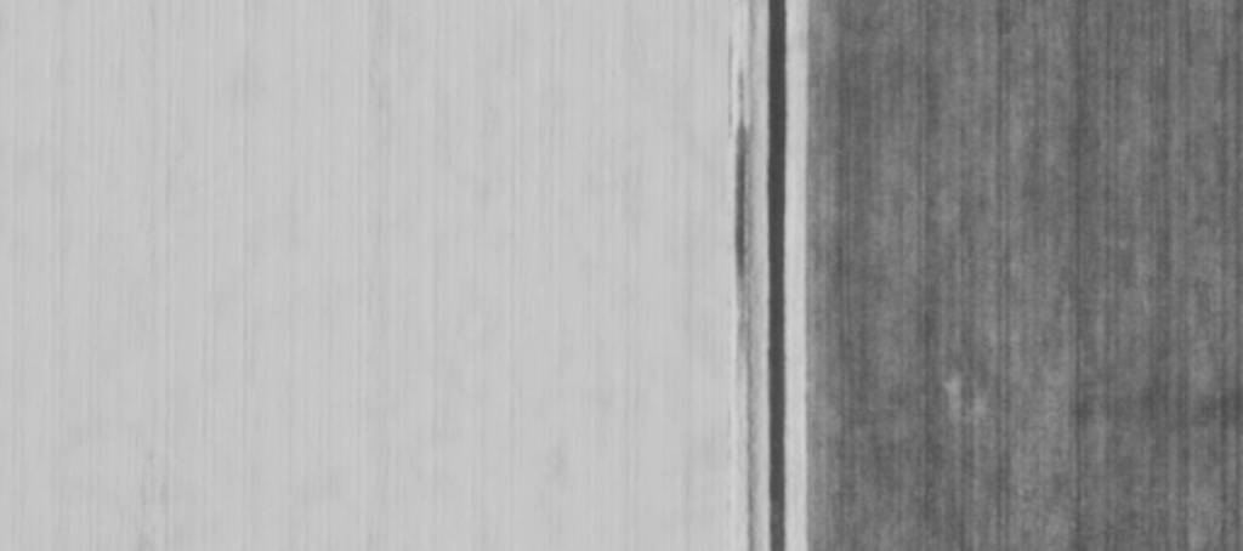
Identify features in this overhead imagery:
road: (785, 275)

